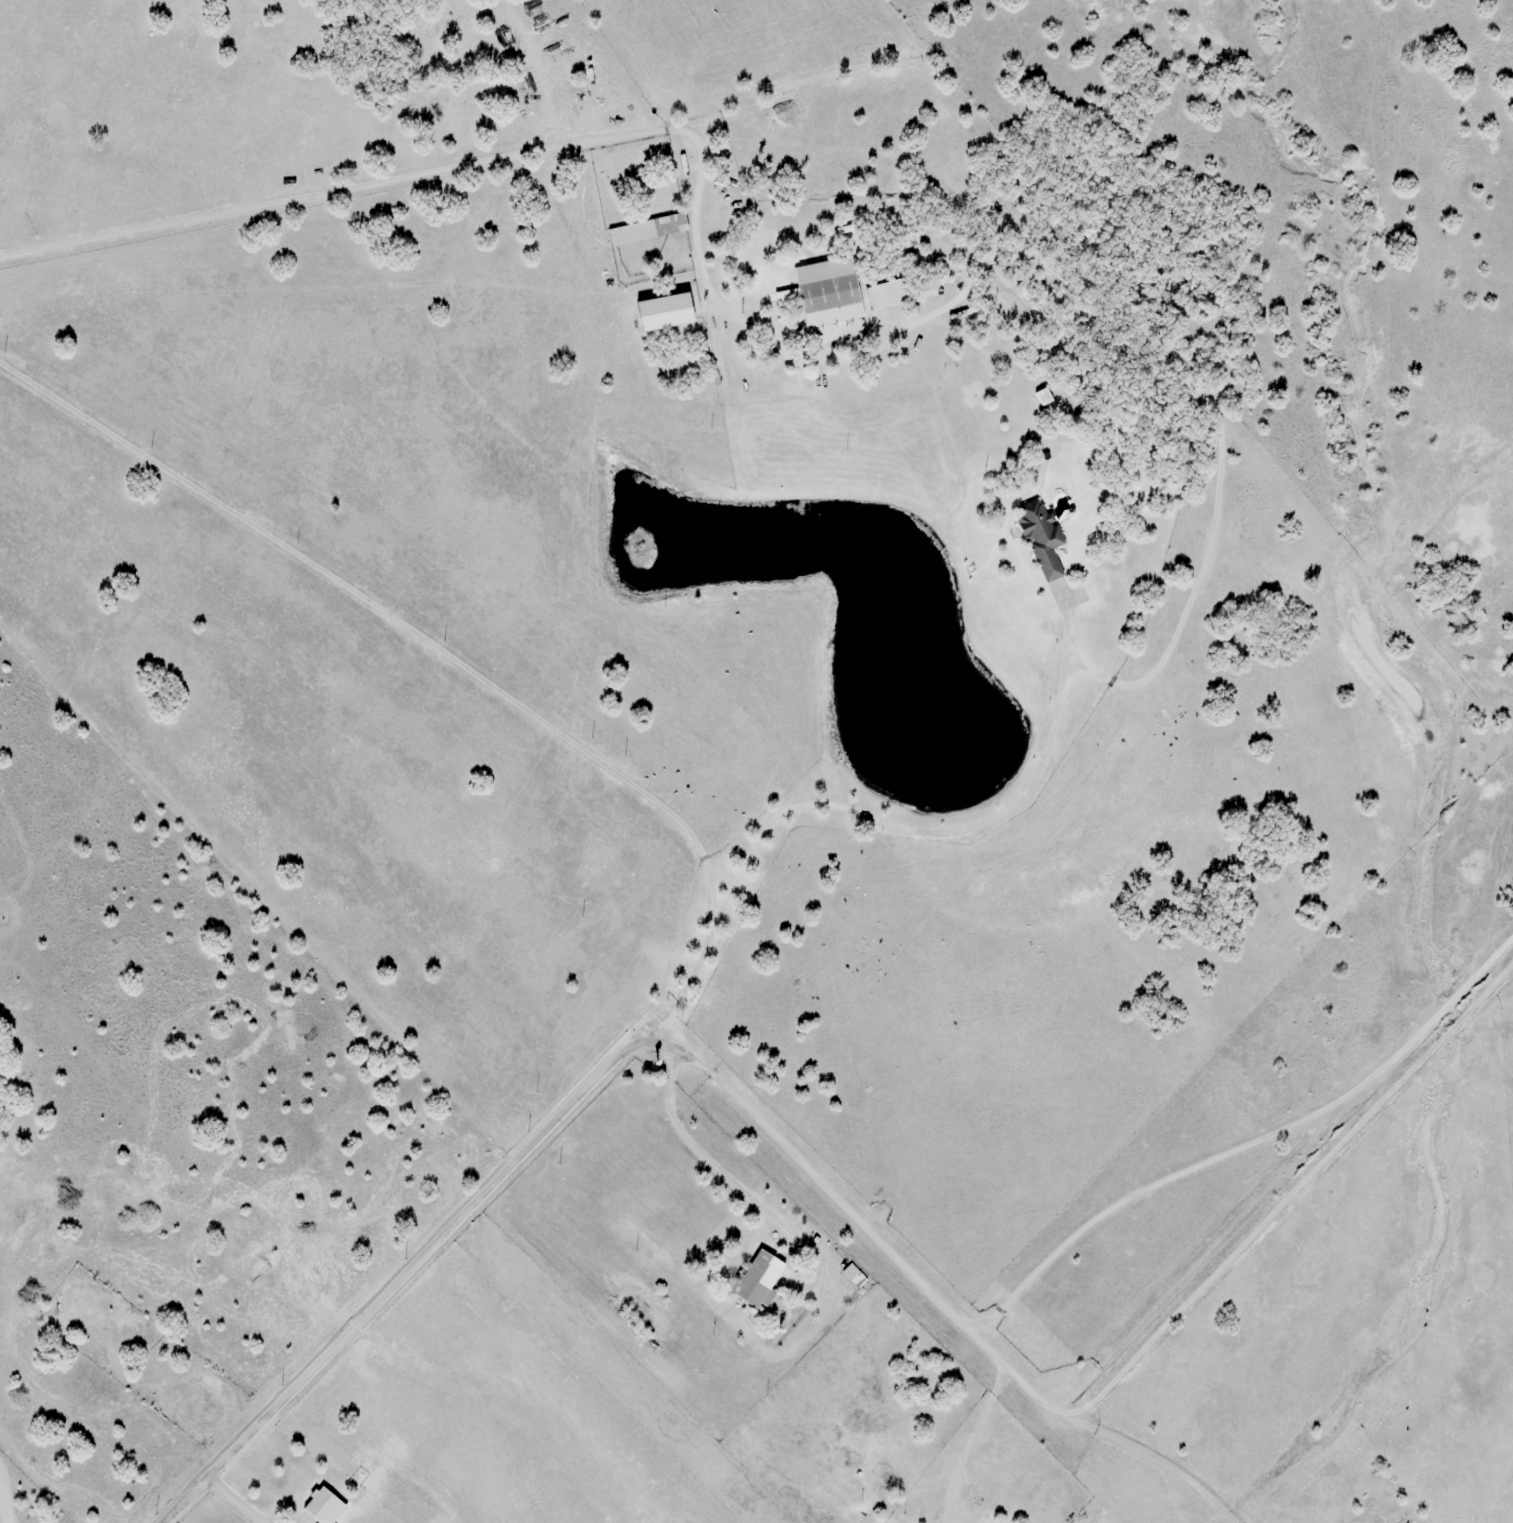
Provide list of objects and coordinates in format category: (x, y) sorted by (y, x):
road: (619, 138)
building: (647, 227)
building: (828, 292)
building: (885, 292)
building: (1044, 396)
building: (1039, 535)
road: (446, 655)
road: (938, 835)
road: (842, 1194)
building: (763, 1278)
road: (1154, 1458)
building: (361, 1521)

